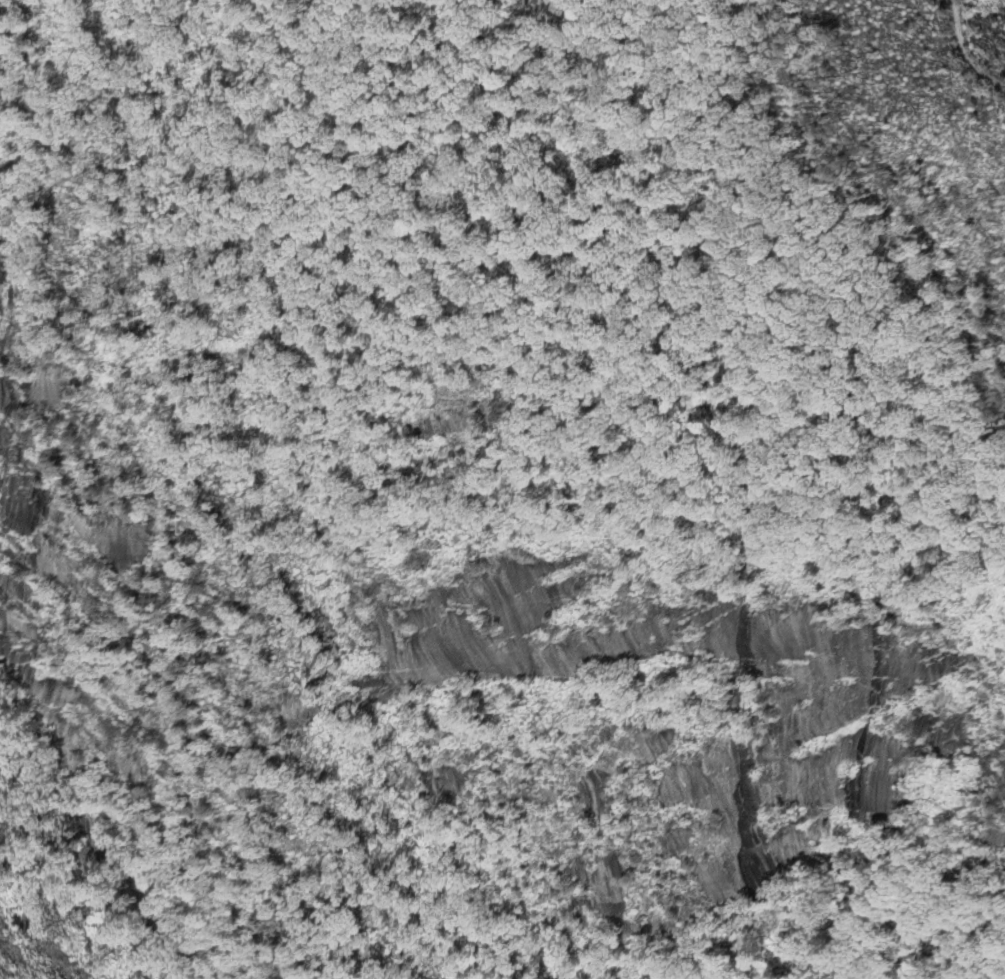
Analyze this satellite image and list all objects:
road: (971, 50)
park: (220, 175)
park: (863, 866)

